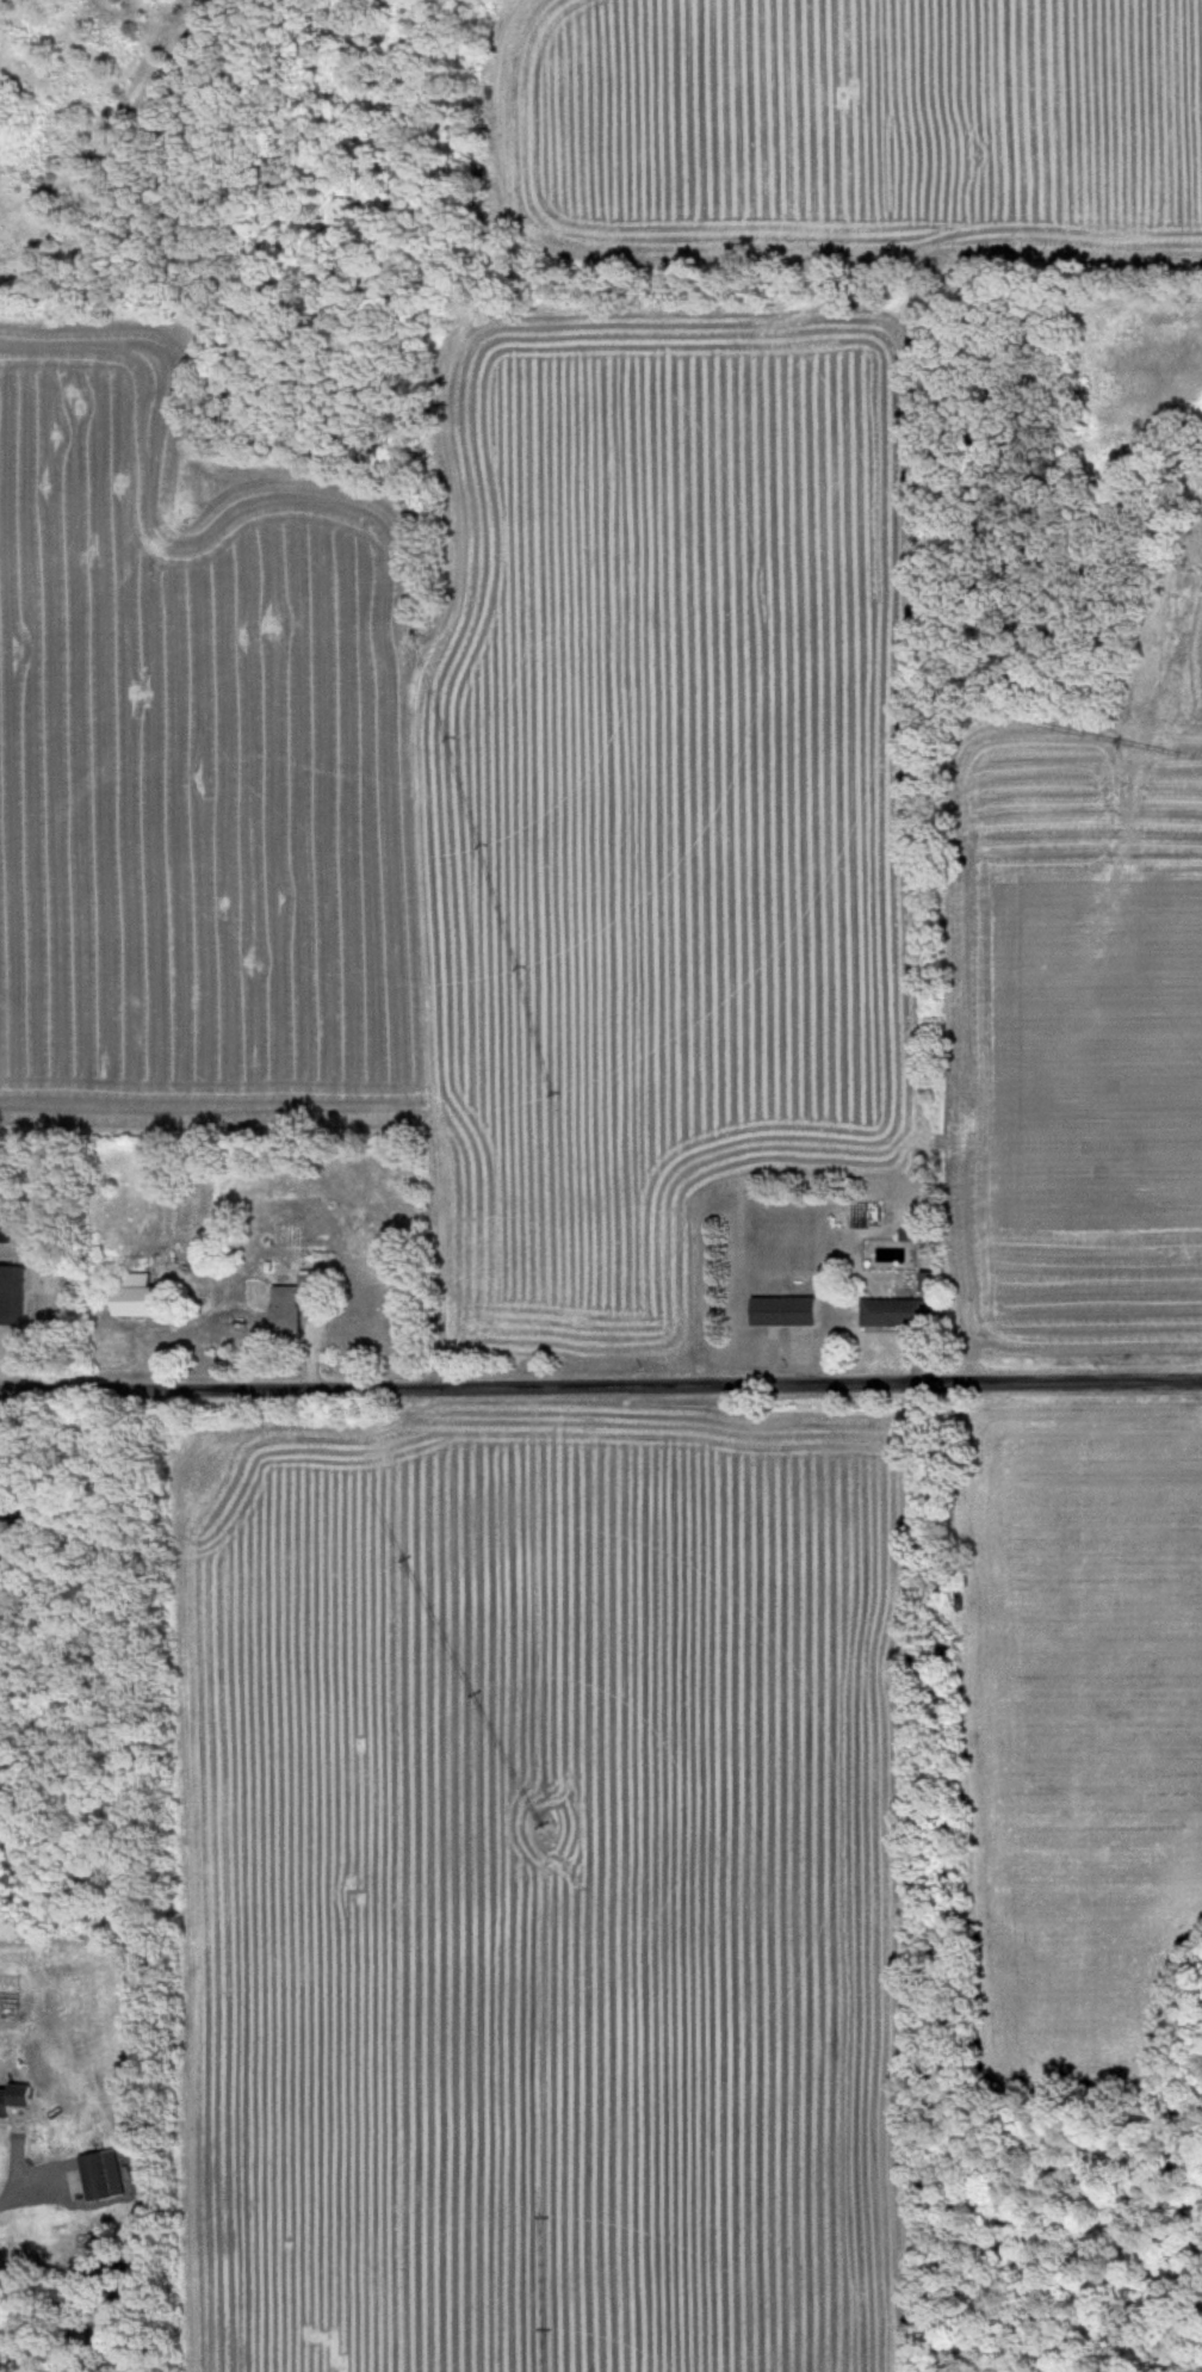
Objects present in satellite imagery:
building: (5, 1231)
building: (12, 1295)
building: (138, 1296)
building: (297, 1302)
building: (786, 1311)
building: (894, 1312)
road: (600, 1390)
building: (10, 1512)
building: (16, 2104)
road: (18, 2175)
building: (104, 2176)

